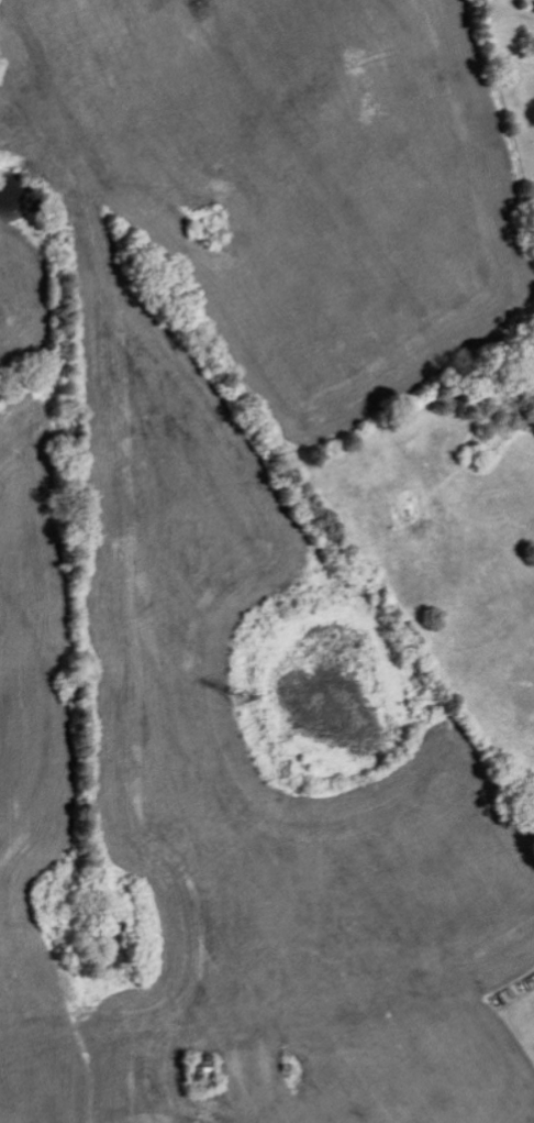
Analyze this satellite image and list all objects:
building: (199, 1072)

